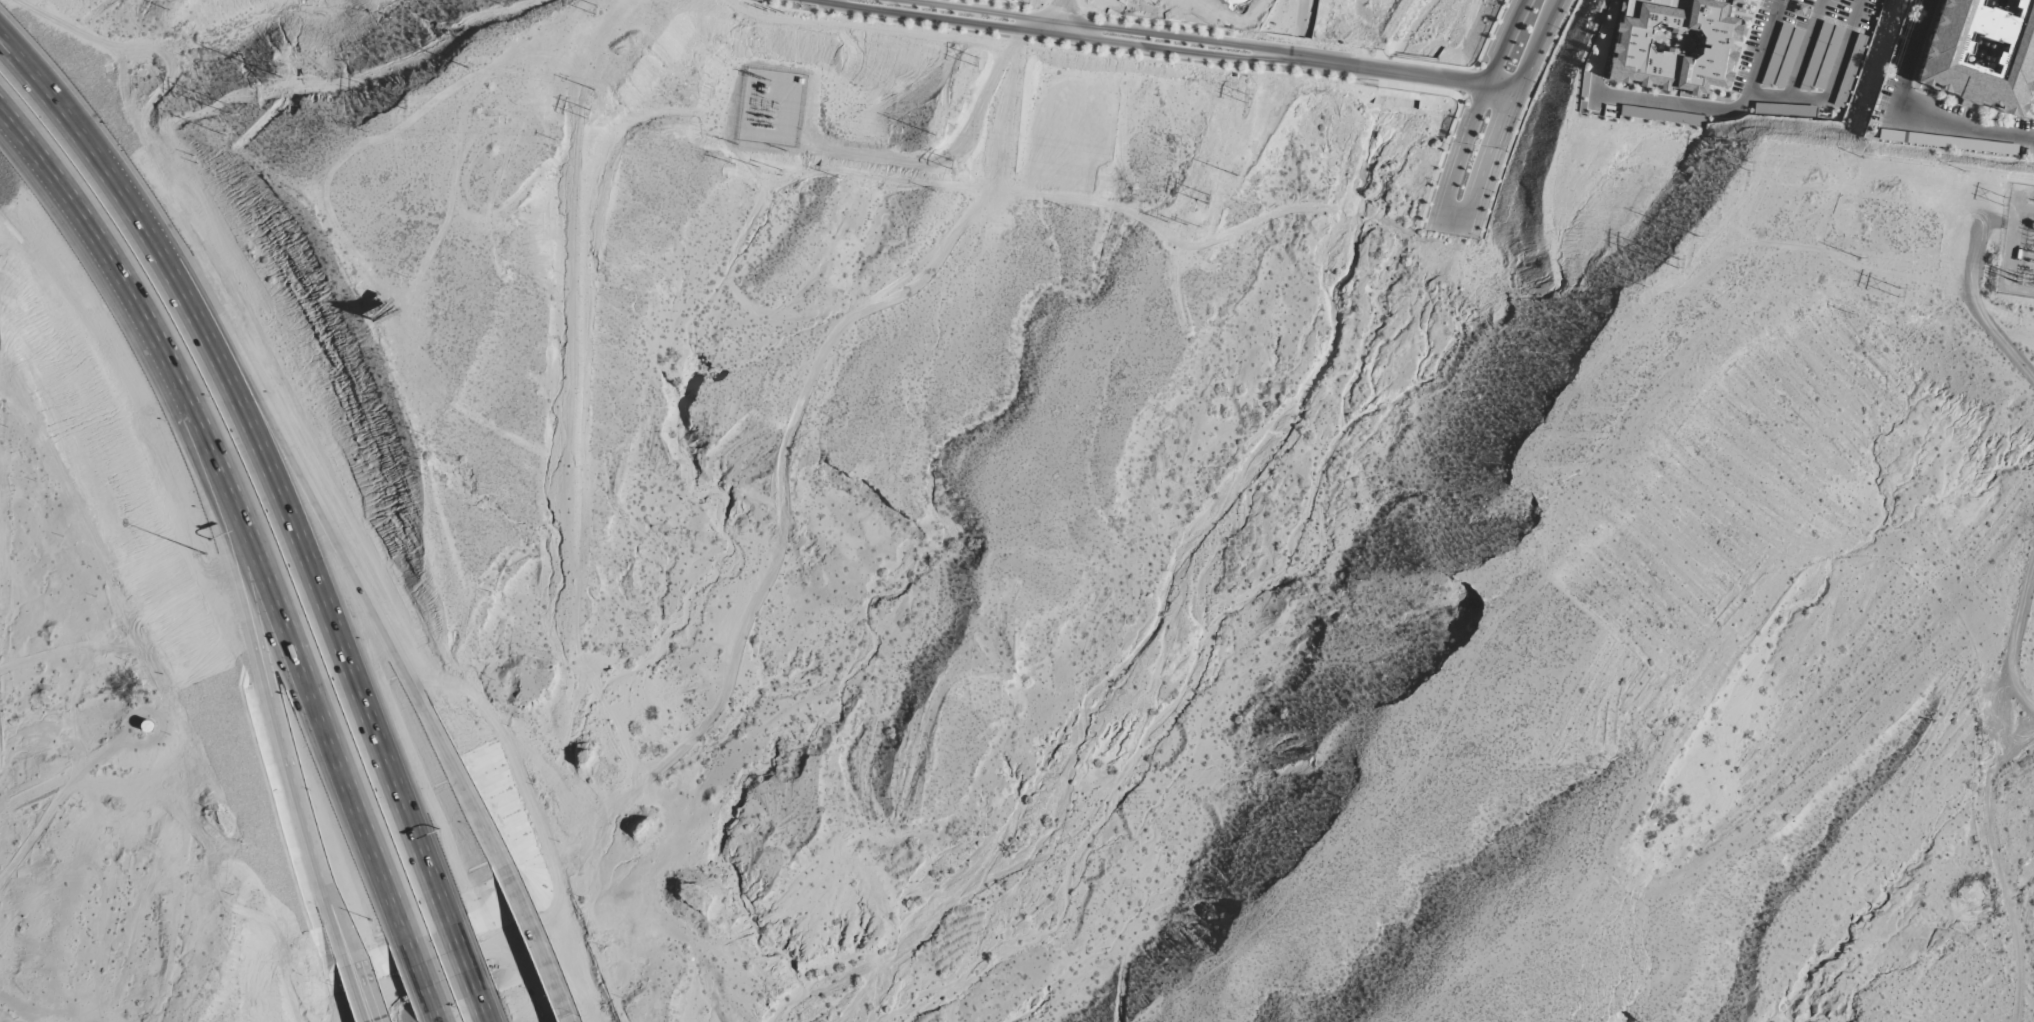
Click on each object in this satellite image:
road: (1003, 2)
road: (780, 4)
road: (1859, 13)
road: (872, 21)
road: (1021, 23)
road: (1096, 26)
road: (1050, 32)
road: (1009, 40)
road: (1506, 43)
road: (1532, 48)
building: (1670, 54)
building: (1782, 57)
building: (1982, 57)
building: (1821, 58)
building: (1851, 71)
road: (1404, 72)
power tower: (405, 103)
power substation: (772, 106)
road: (1722, 107)
building: (1785, 108)
power tower: (588, 114)
road: (1907, 120)
road: (944, 159)
power tower: (950, 162)
power tower: (1206, 199)
road: (1453, 216)
power substation: (2017, 244)
power tower: (1677, 262)
power tower: (1899, 289)
road: (1973, 301)
road: (262, 450)
road: (234, 486)
road: (365, 606)
road: (2013, 638)
road: (269, 690)
road: (537, 948)
road: (454, 957)
road: (425, 968)
road: (362, 992)
road: (477, 1014)
road: (446, 1021)

